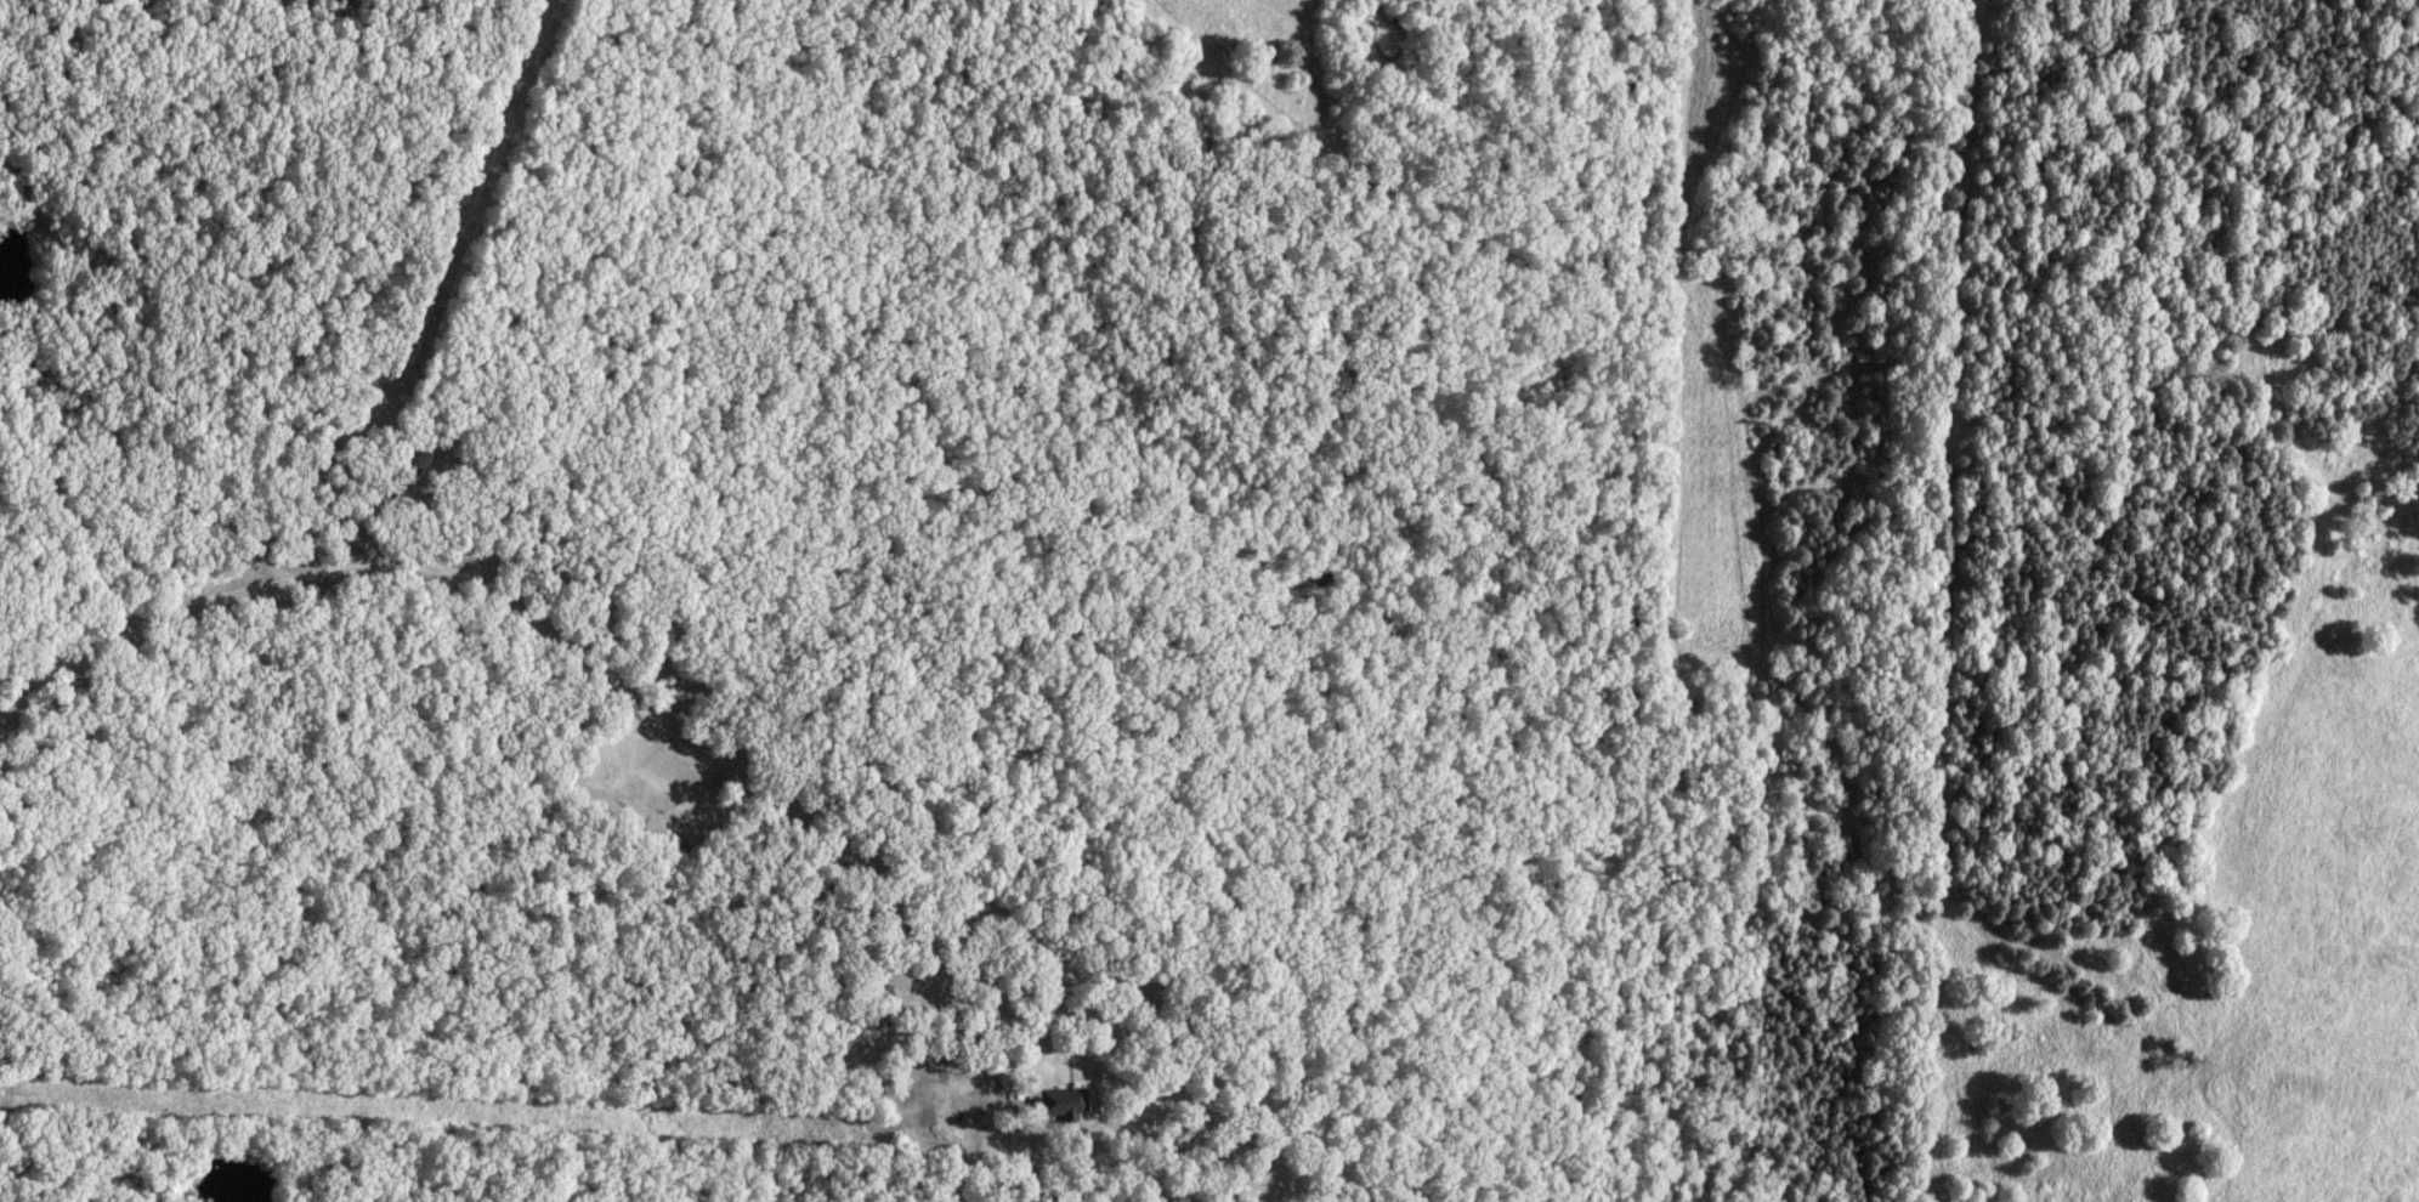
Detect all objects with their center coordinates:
building: (408, 474)
road: (589, 668)
building: (1063, 1104)

